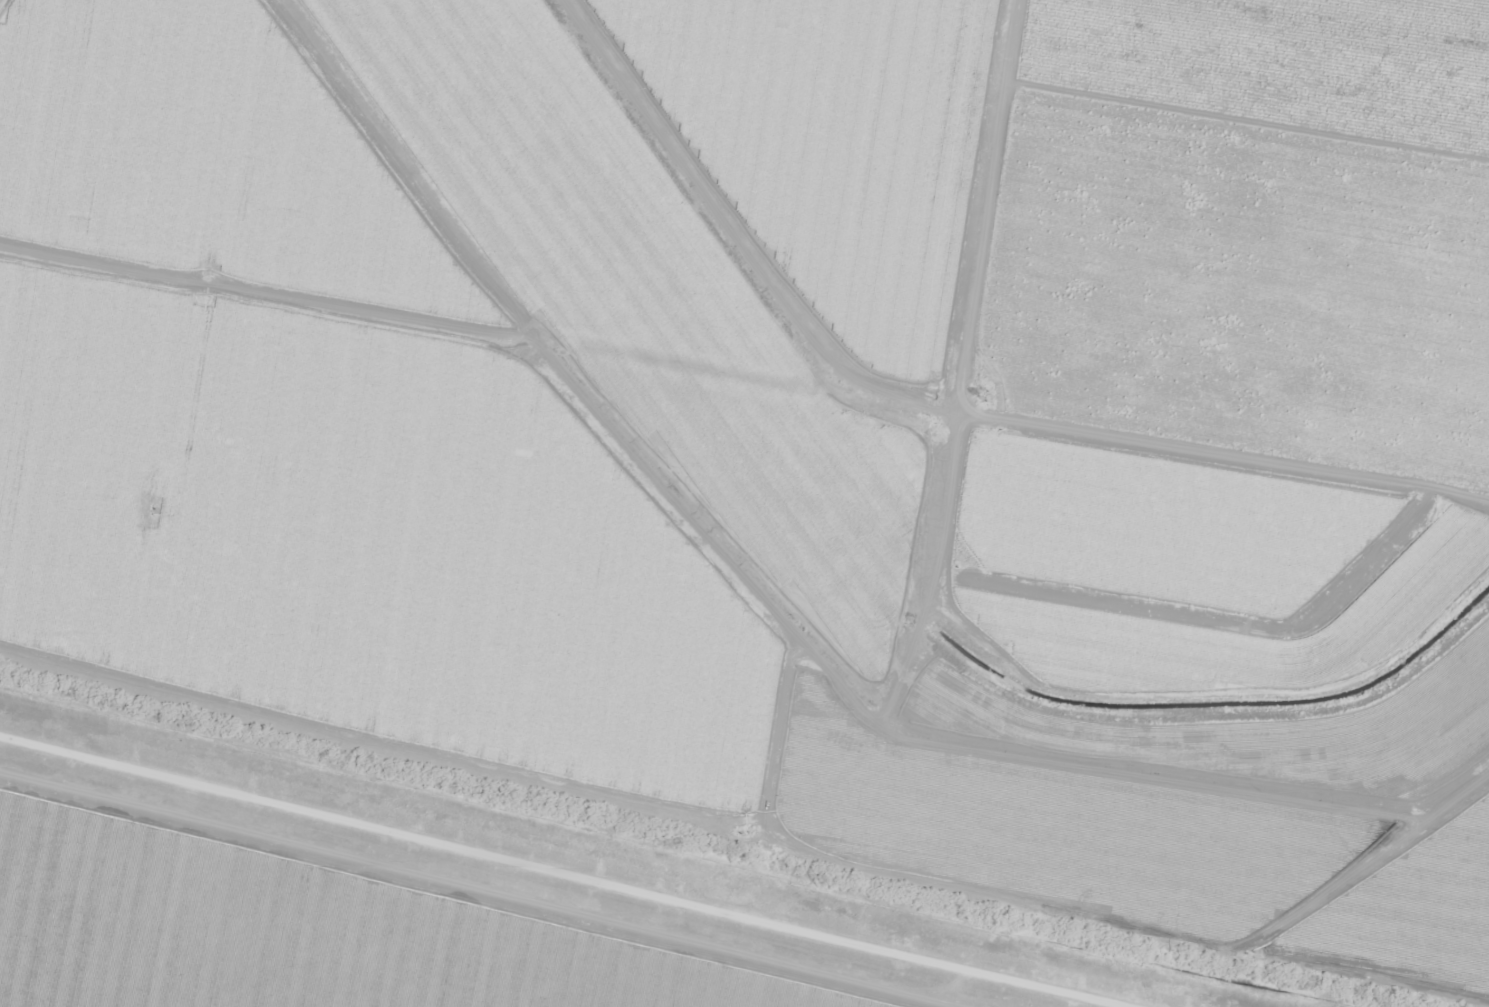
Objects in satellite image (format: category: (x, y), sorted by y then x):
road: (1005, 183)
road: (753, 365)
road: (594, 868)

